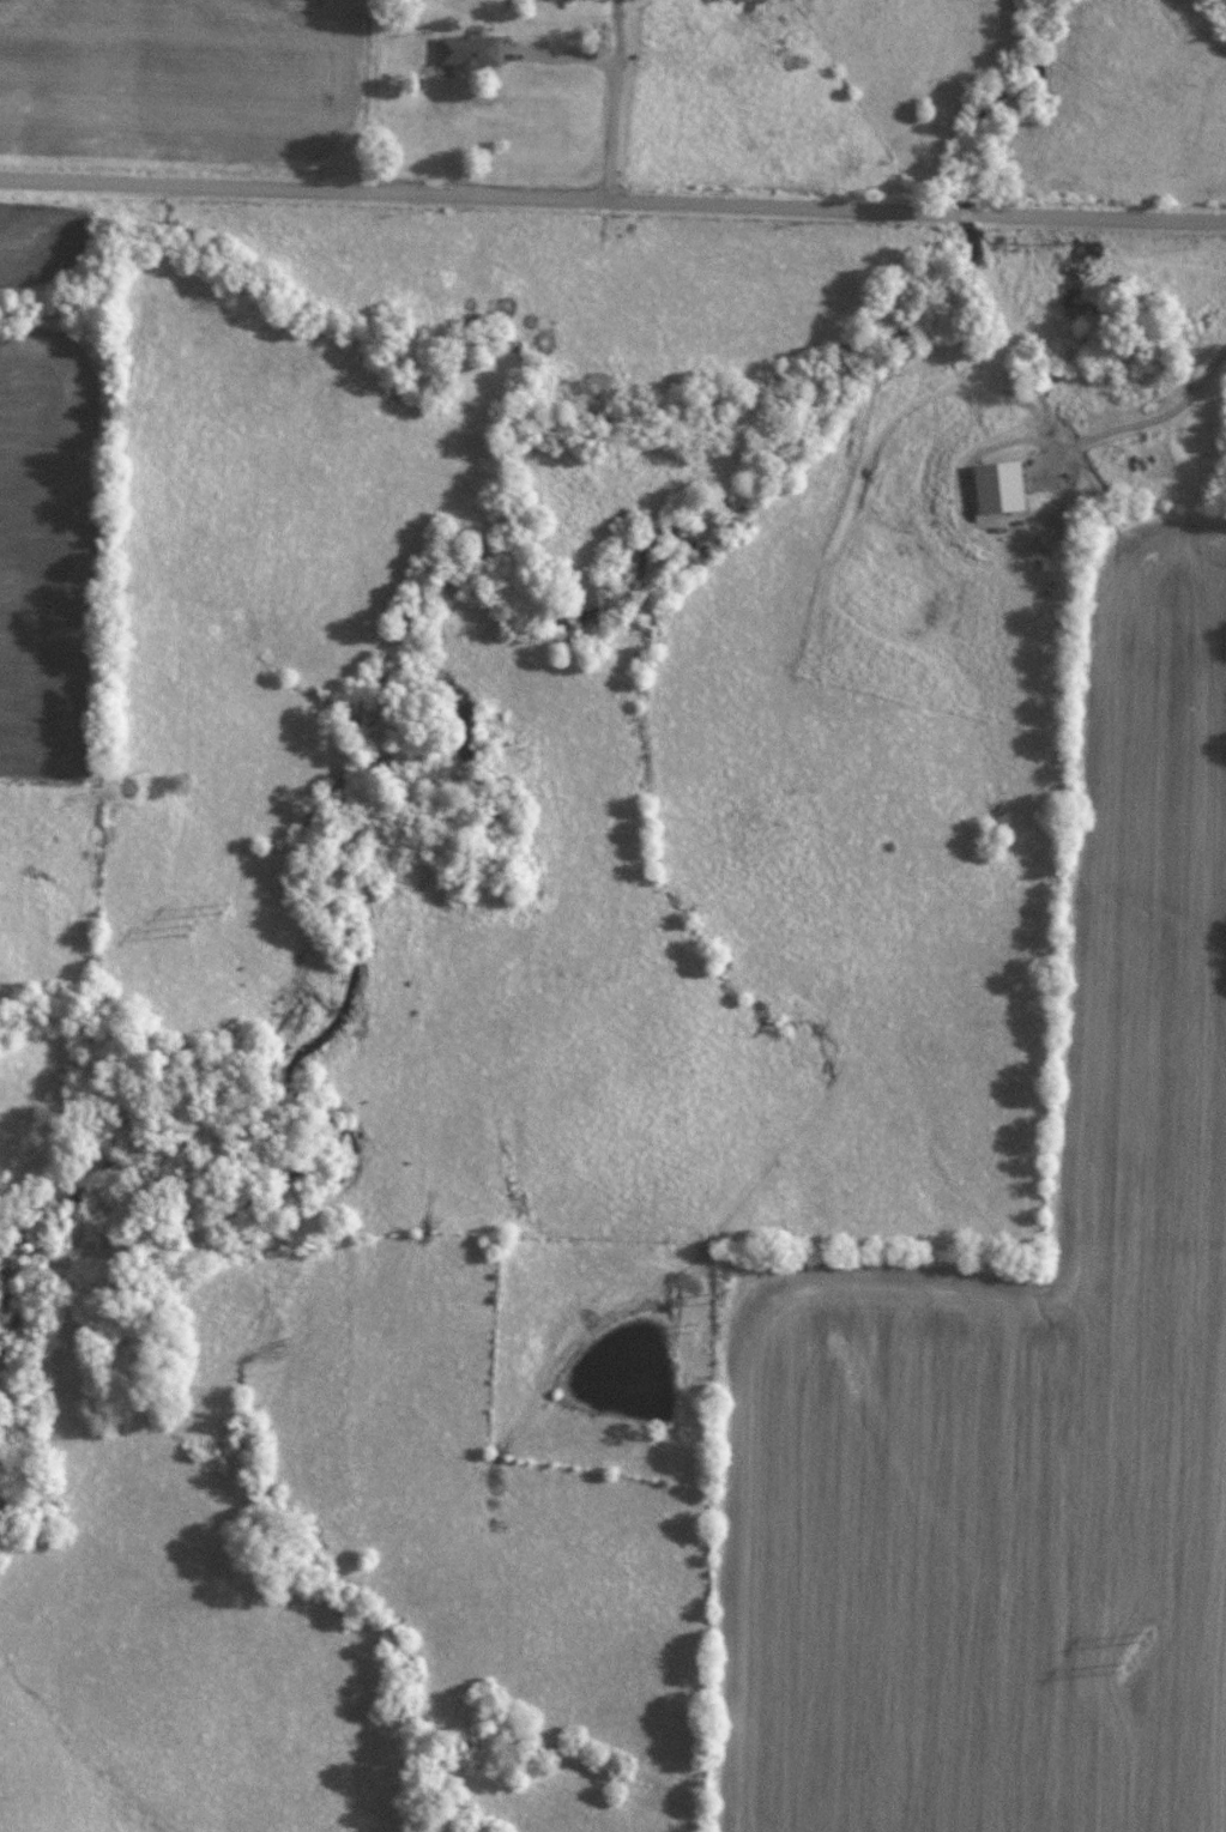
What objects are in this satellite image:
building: (469, 50)
road: (610, 85)
road: (612, 201)
road: (1112, 423)
power tower: (224, 905)
power tower: (189, 929)
power tower: (717, 1294)
power tower: (693, 1326)
power tower: (1145, 1632)
power tower: (1122, 1665)

